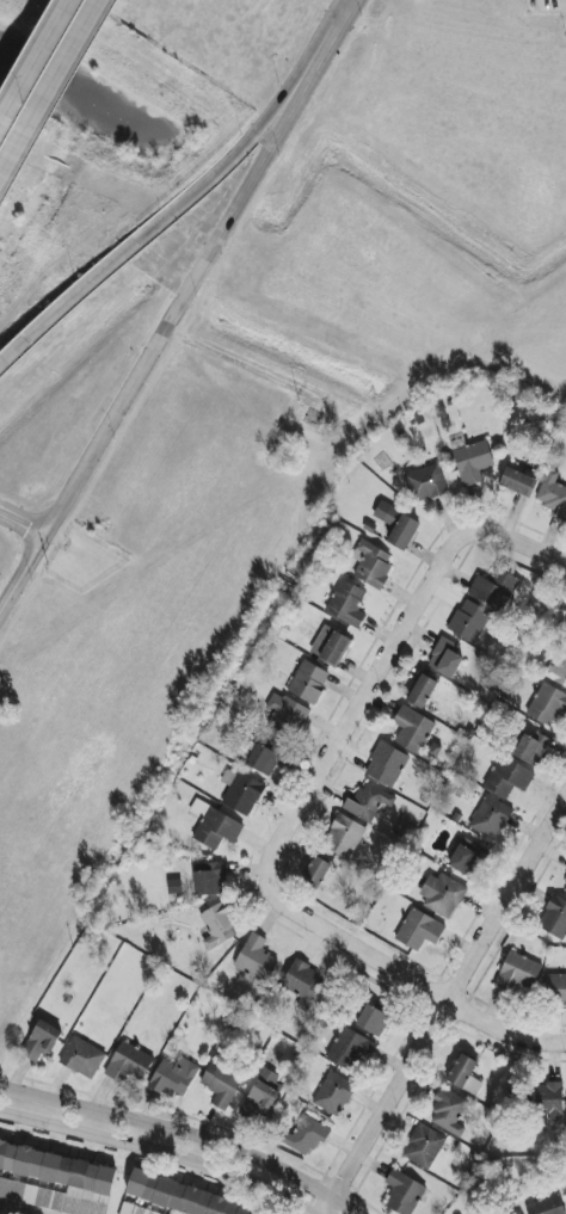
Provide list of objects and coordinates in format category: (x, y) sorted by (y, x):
road: (340, 13)
road: (35, 60)
road: (51, 93)
road: (176, 205)
road: (196, 284)
road: (240, 363)
building: (472, 462)
building: (518, 482)
building: (425, 483)
building: (552, 494)
building: (386, 512)
road: (24, 524)
building: (404, 532)
road: (505, 534)
building: (373, 563)
road: (24, 577)
building: (494, 588)
building: (347, 604)
building: (469, 621)
building: (330, 646)
building: (445, 658)
building: (558, 671)
building: (308, 683)
building: (423, 691)
building: (547, 705)
building: (287, 715)
road: (353, 717)
building: (413, 731)
building: (533, 748)
building: (265, 759)
building: (387, 765)
building: (507, 778)
building: (241, 793)
building: (368, 802)
building: (491, 818)
building: (215, 826)
building: (344, 837)
building: (467, 858)
building: (316, 873)
building: (209, 880)
building: (564, 888)
building: (442, 895)
building: (554, 918)
building: (219, 926)
building: (419, 930)
building: (256, 959)
building: (518, 973)
road: (408, 979)
building: (303, 985)
building: (555, 990)
road: (443, 1003)
building: (373, 1021)
building: (42, 1041)
building: (350, 1049)
building: (82, 1058)
building: (129, 1064)
building: (465, 1074)
building: (173, 1078)
building: (221, 1085)
building: (334, 1095)
building: (262, 1097)
building: (550, 1102)
building: (449, 1111)
road: (184, 1134)
building: (308, 1135)
building: (424, 1147)
road: (158, 1151)
building: (56, 1181)
building: (404, 1194)
building: (183, 1196)
building: (547, 1206)
road: (11, 1210)
building: (134, 1210)
building: (519, 1213)

